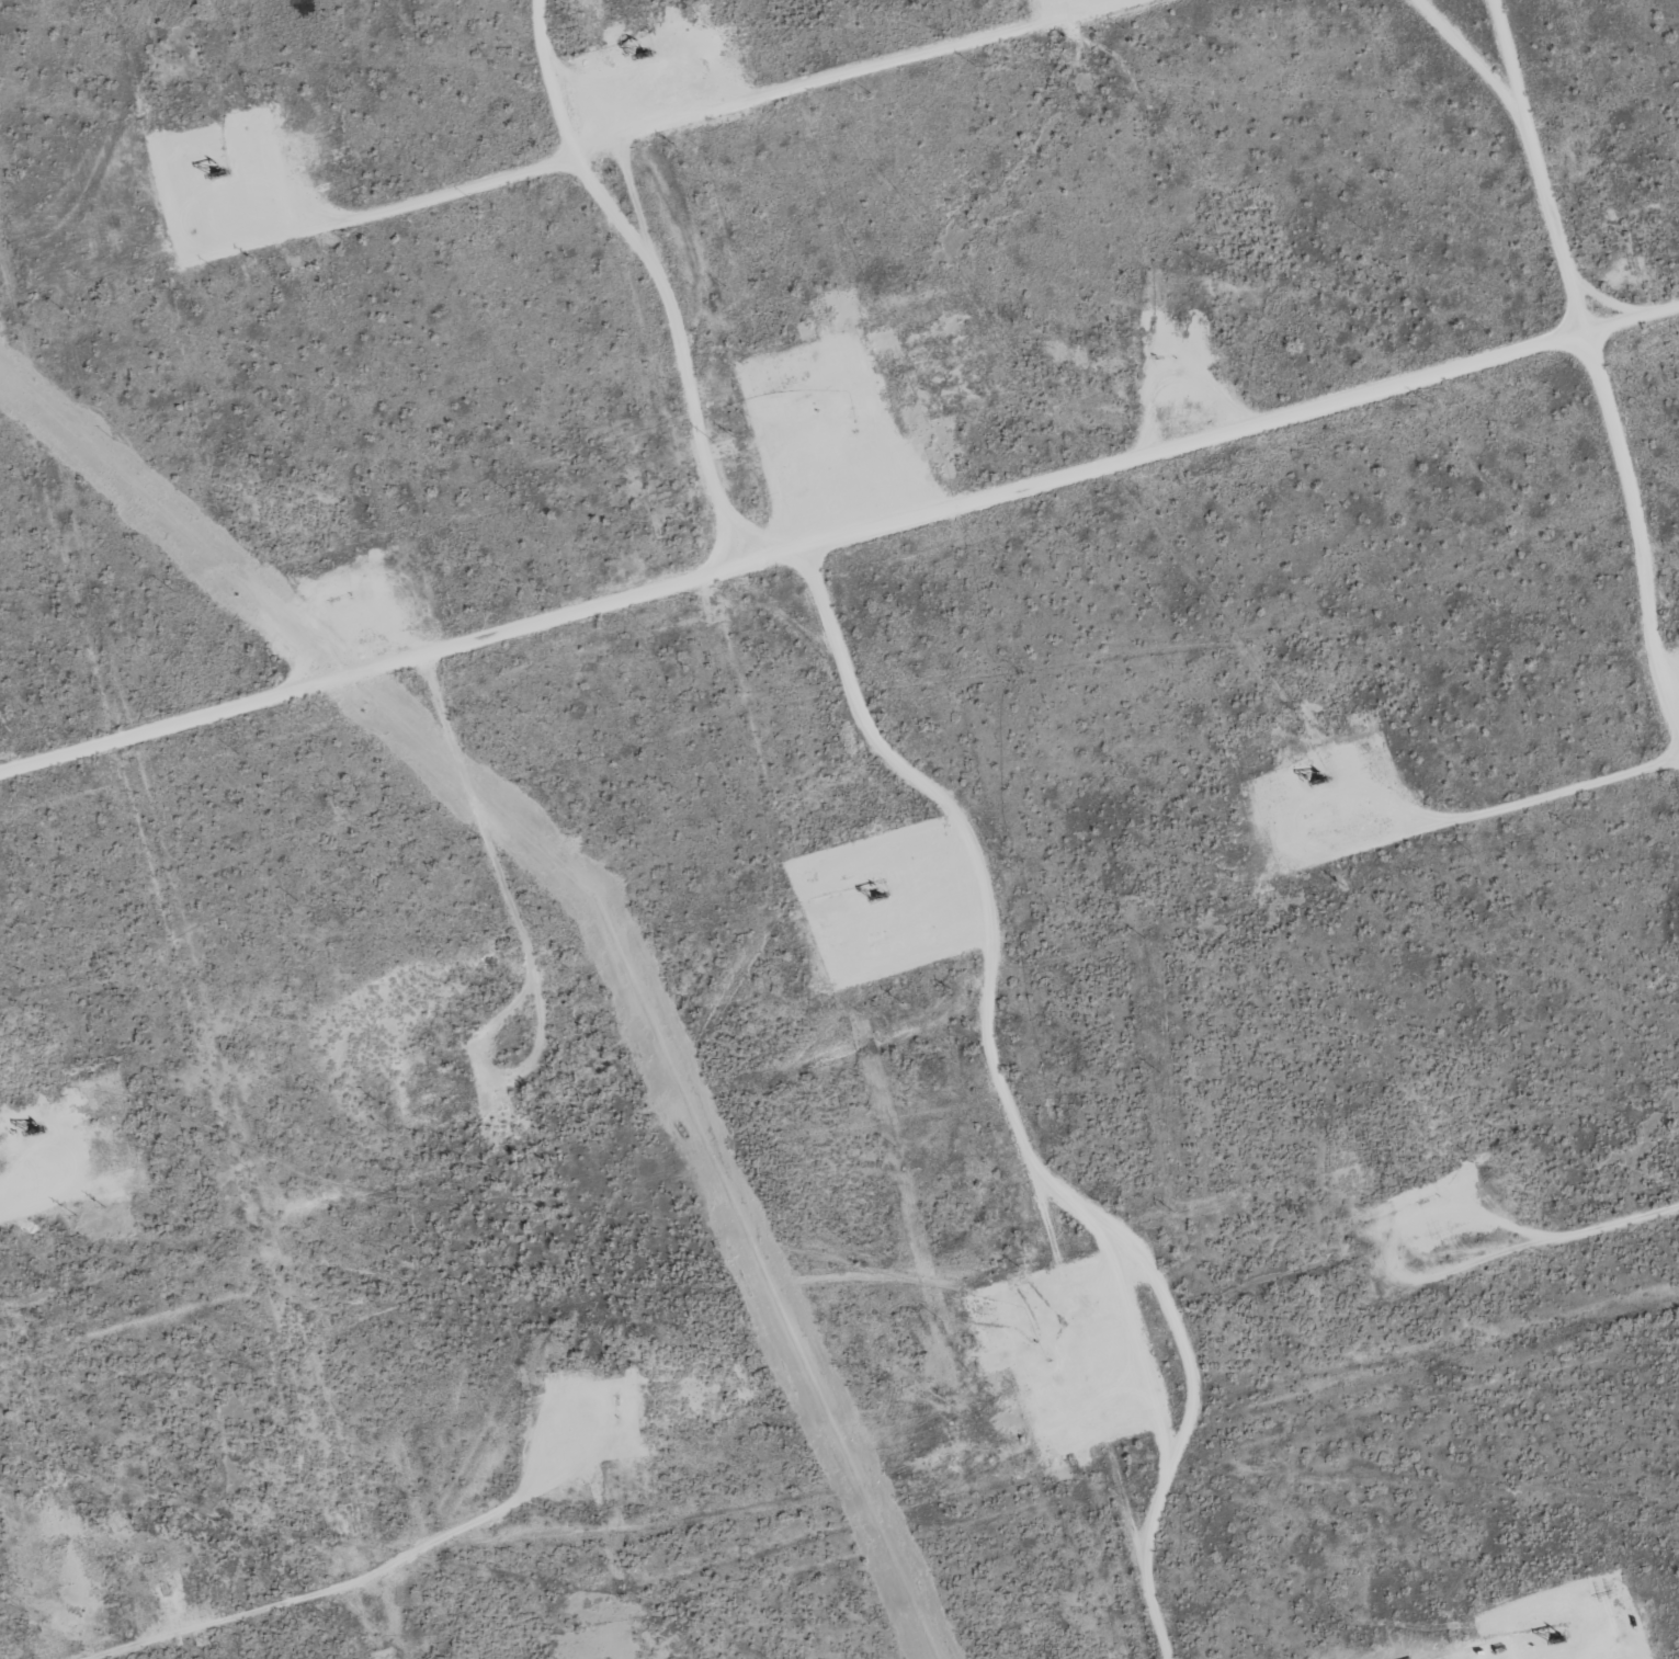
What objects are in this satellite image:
petroleum well: (647, 59)
petroleum well: (222, 167)
road: (658, 270)
road: (1589, 355)
road: (1244, 422)
road: (855, 714)
petroleum well: (1316, 780)
petroleum well: (876, 896)
petroleum well: (451, 1037)
petroleum well: (37, 1136)
road: (320, 1604)

